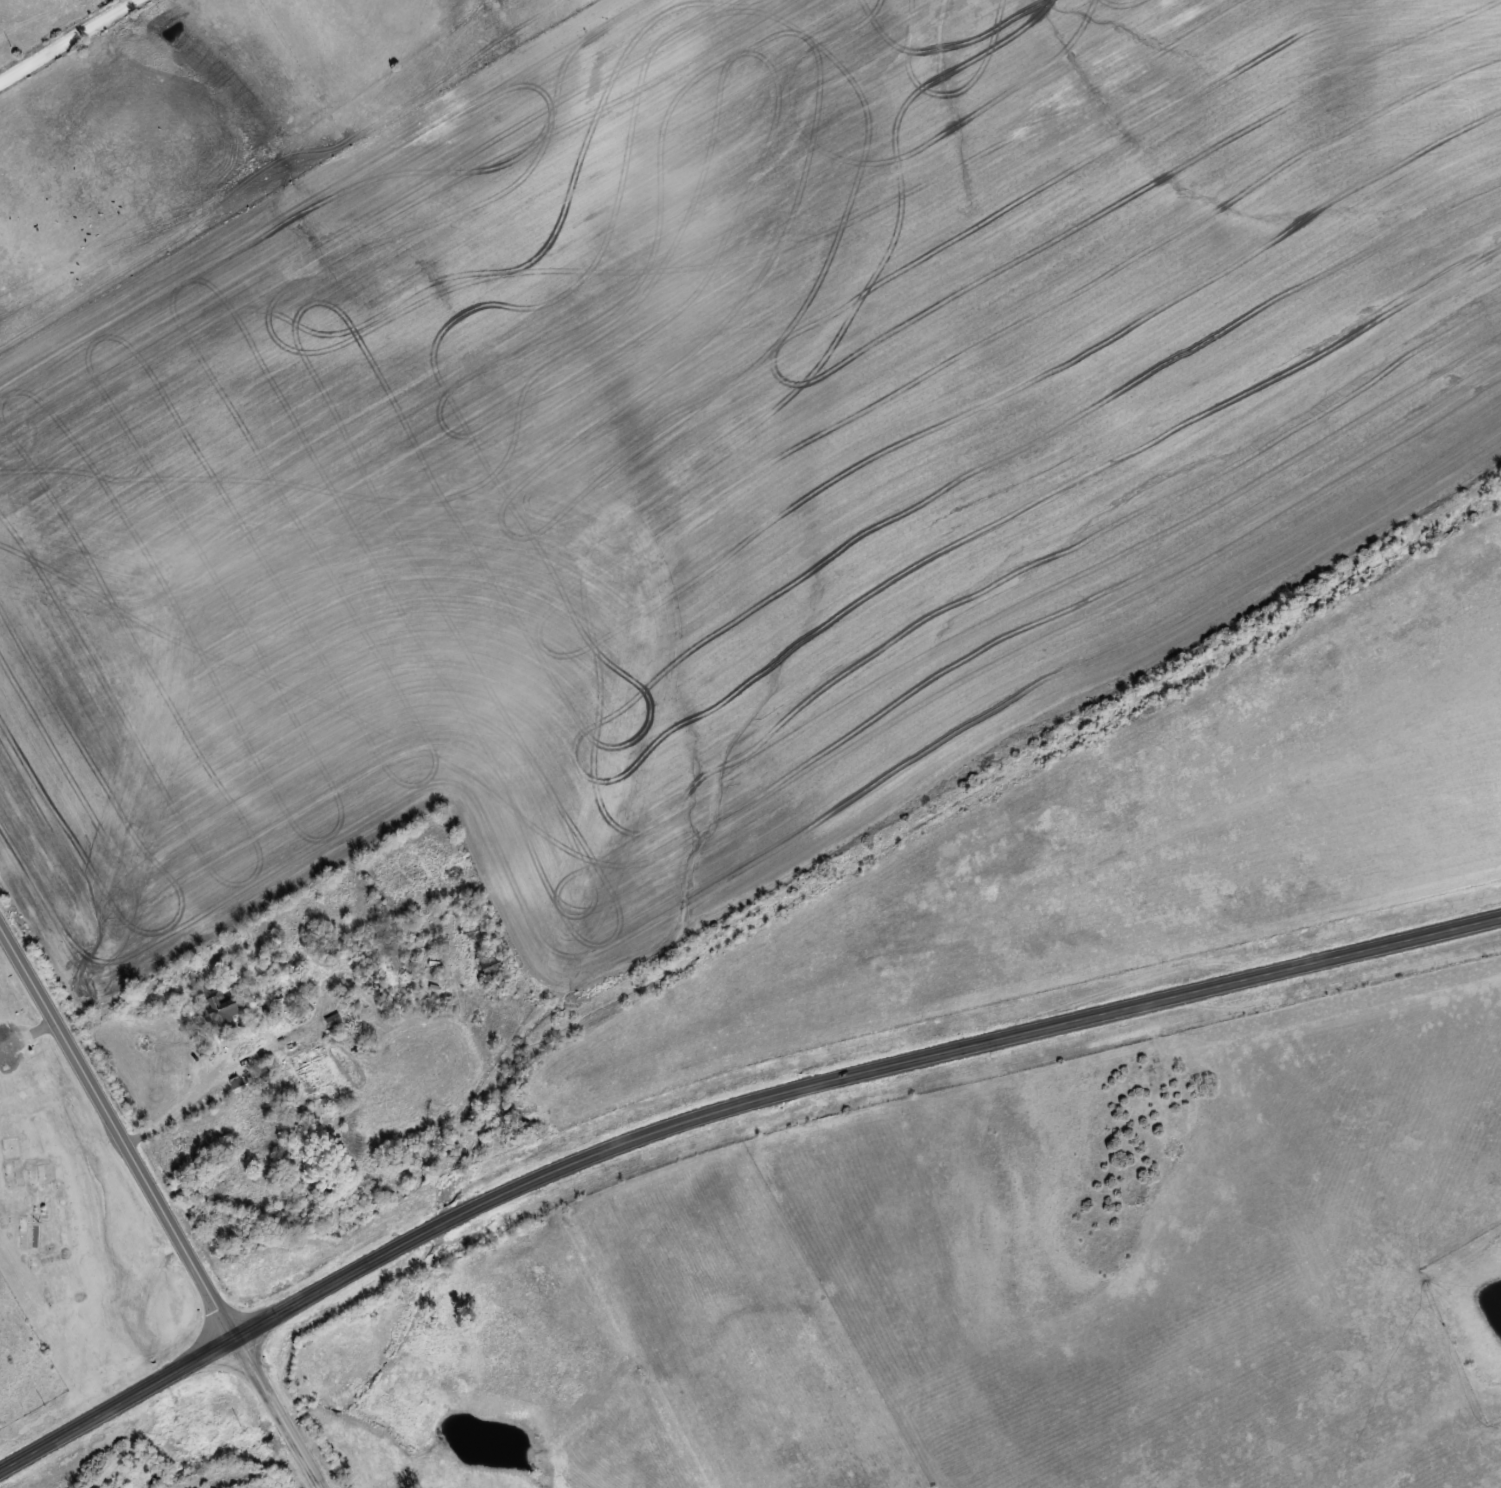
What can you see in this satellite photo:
road: (70, 42)
building: (390, 945)
building: (219, 1009)
road: (718, 1109)
building: (47, 1171)
road: (160, 1206)
park: (75, 1215)

